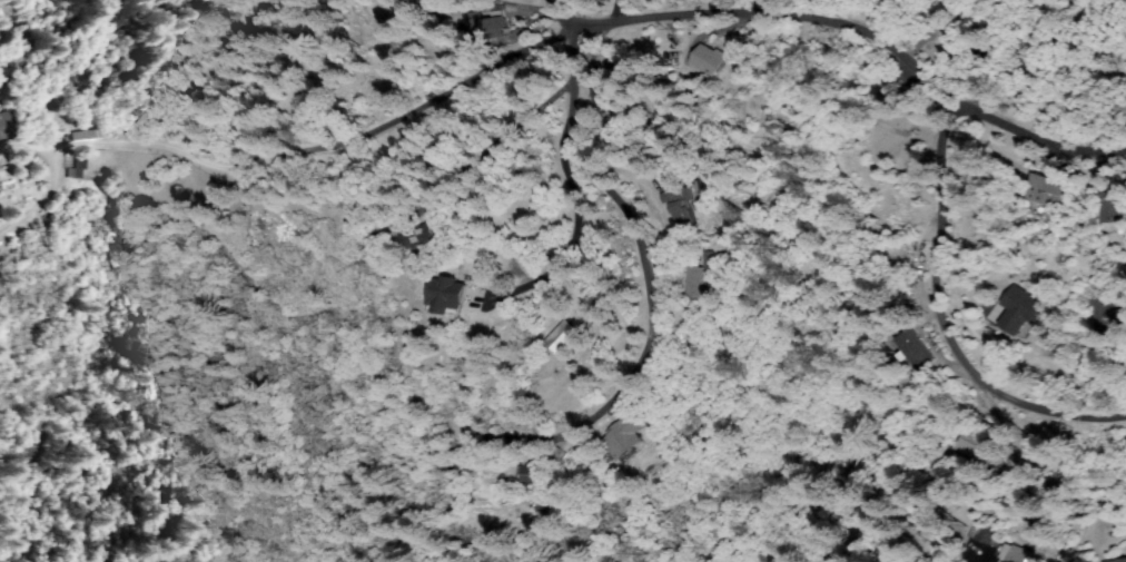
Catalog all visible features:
building: (487, 22)
road: (663, 22)
building: (958, 56)
building: (709, 60)
building: (625, 73)
road: (957, 96)
building: (595, 98)
building: (1117, 105)
building: (1074, 112)
building: (898, 121)
building: (4, 126)
building: (88, 136)
building: (1038, 160)
building: (75, 166)
building: (1045, 194)
building: (682, 200)
building: (1110, 208)
building: (418, 236)
building: (1084, 248)
building: (708, 260)
building: (694, 282)
road: (642, 284)
building: (888, 284)
building: (448, 297)
building: (1098, 309)
building: (1021, 313)
building: (1119, 319)
road: (940, 333)
building: (563, 336)
building: (912, 352)
building: (625, 438)
building: (971, 444)
building: (534, 470)
building: (1067, 483)
building: (984, 534)
building: (1011, 554)
building: (1114, 560)

